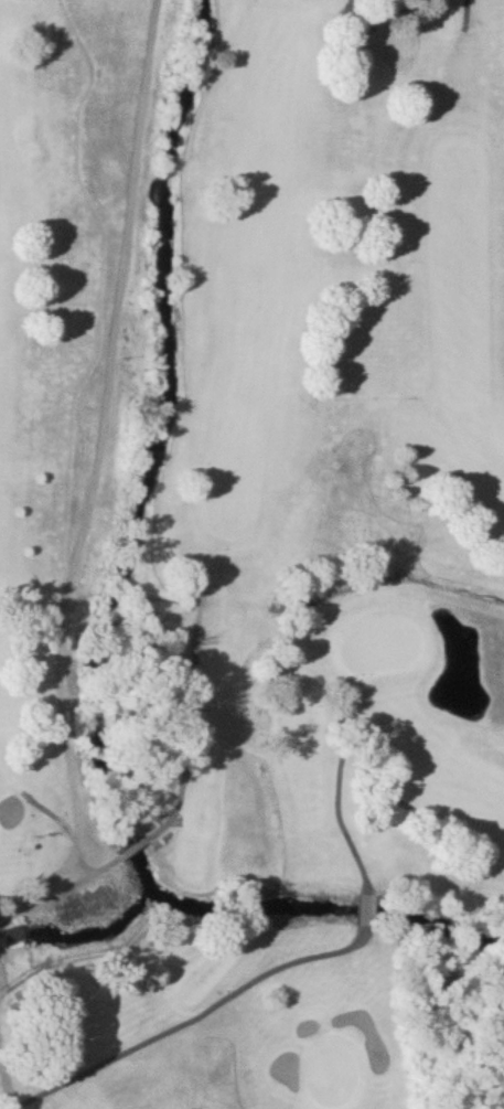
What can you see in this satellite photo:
park: (251, 554)
river: (108, 623)
park: (383, 647)
building: (14, 934)
park: (335, 1076)

